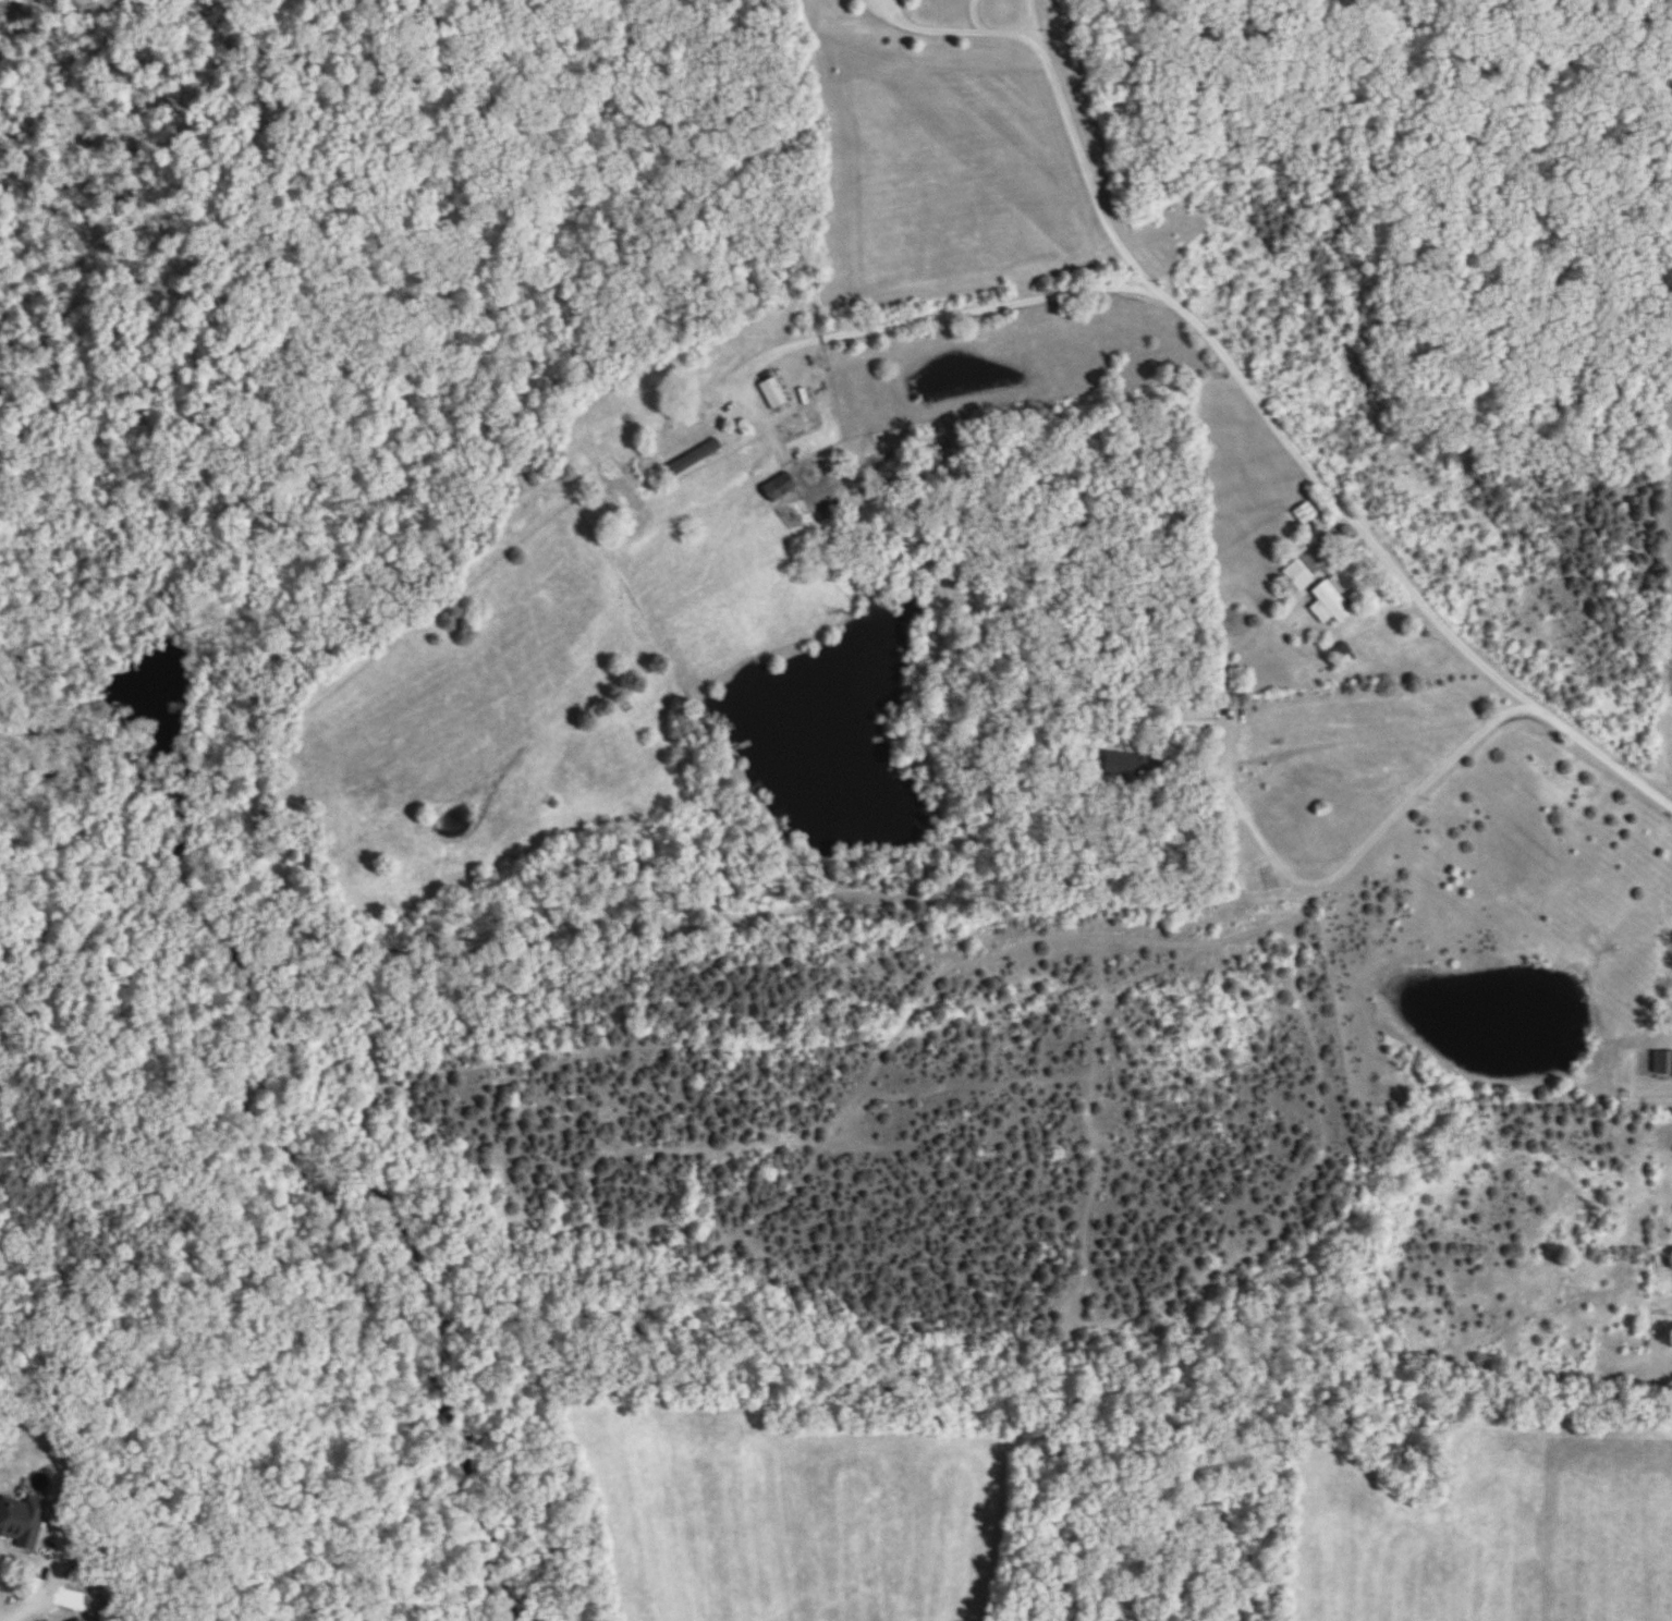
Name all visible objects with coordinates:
road: (926, 27)
road: (998, 31)
road: (940, 318)
building: (773, 395)
building: (684, 434)
road: (1291, 447)
building: (779, 489)
building: (1298, 576)
building: (1330, 605)
building: (1195, 721)
road: (1353, 862)
building: (1662, 1063)
road: (1668, 1303)
building: (20, 1525)
road: (29, 1613)

